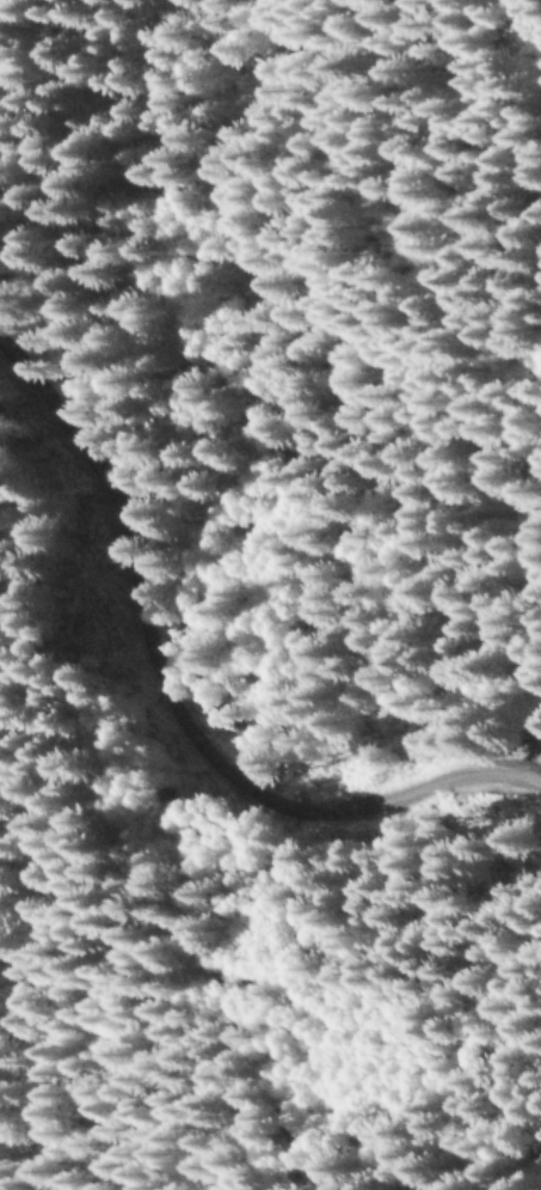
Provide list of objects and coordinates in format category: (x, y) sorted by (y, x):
road: (260, 840)

